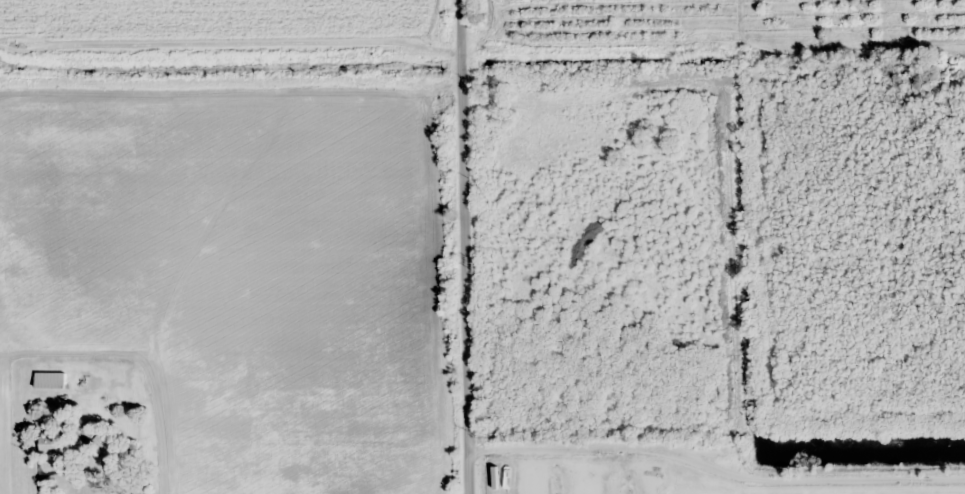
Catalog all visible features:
road: (465, 247)
building: (50, 379)
building: (90, 429)
road: (719, 441)
building: (53, 443)
building: (112, 446)

